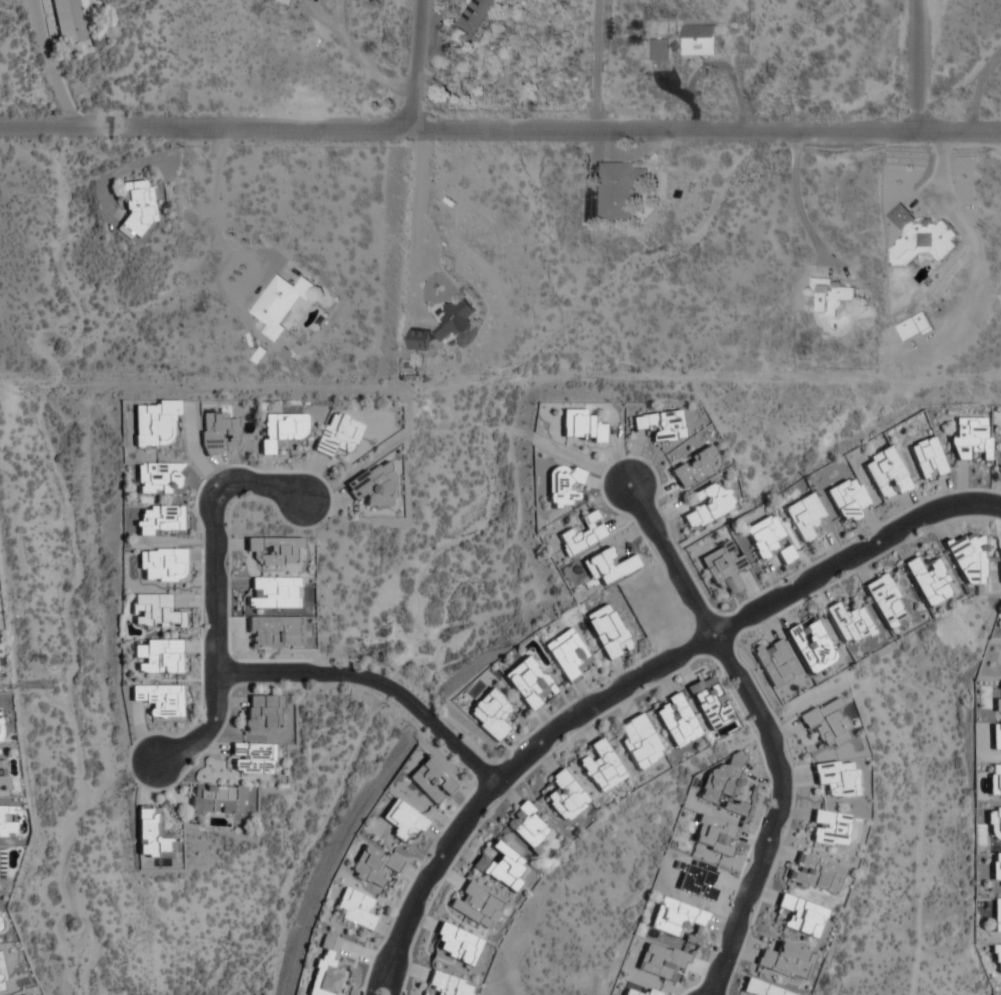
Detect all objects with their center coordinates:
building: (475, 14)
building: (70, 21)
building: (685, 42)
road: (357, 59)
road: (594, 64)
road: (924, 66)
road: (972, 86)
road: (500, 129)
road: (404, 187)
building: (621, 189)
road: (793, 200)
building: (136, 206)
building: (922, 237)
road: (229, 248)
building: (835, 297)
building: (280, 302)
building: (458, 318)
building: (915, 326)
building: (419, 339)
building: (152, 423)
building: (659, 425)
building: (580, 426)
building: (281, 430)
building: (218, 432)
building: (337, 434)
building: (970, 438)
building: (927, 459)
building: (695, 467)
building: (885, 474)
building: (159, 478)
building: (564, 486)
building: (370, 487)
building: (845, 499)
building: (708, 504)
building: (805, 518)
building: (158, 520)
building: (583, 534)
building: (767, 540)
building: (273, 549)
building: (969, 560)
building: (158, 565)
building: (608, 566)
building: (723, 567)
building: (928, 580)
road: (217, 597)
building: (884, 600)
building: (153, 612)
building: (849, 622)
building: (607, 631)
building: (273, 632)
building: (811, 645)
building: (565, 654)
building: (156, 656)
building: (774, 663)
road: (376, 683)
building: (527, 683)
road: (634, 683)
building: (158, 701)
building: (708, 702)
building: (261, 713)
building: (489, 714)
building: (676, 720)
road: (766, 730)
building: (996, 737)
building: (637, 742)
building: (251, 758)
building: (599, 766)
building: (3, 773)
building: (835, 778)
building: (994, 779)
building: (428, 781)
building: (723, 785)
building: (565, 796)
building: (218, 799)
building: (400, 821)
building: (993, 824)
building: (529, 827)
building: (829, 828)
building: (152, 835)
building: (373, 865)
building: (500, 865)
building: (1, 866)
building: (995, 869)
building: (816, 873)
building: (476, 905)
building: (354, 908)
building: (801, 915)
building: (996, 915)
building: (679, 920)
building: (457, 944)
building: (996, 958)
building: (786, 961)
building: (325, 967)
building: (448, 985)
building: (762, 989)

